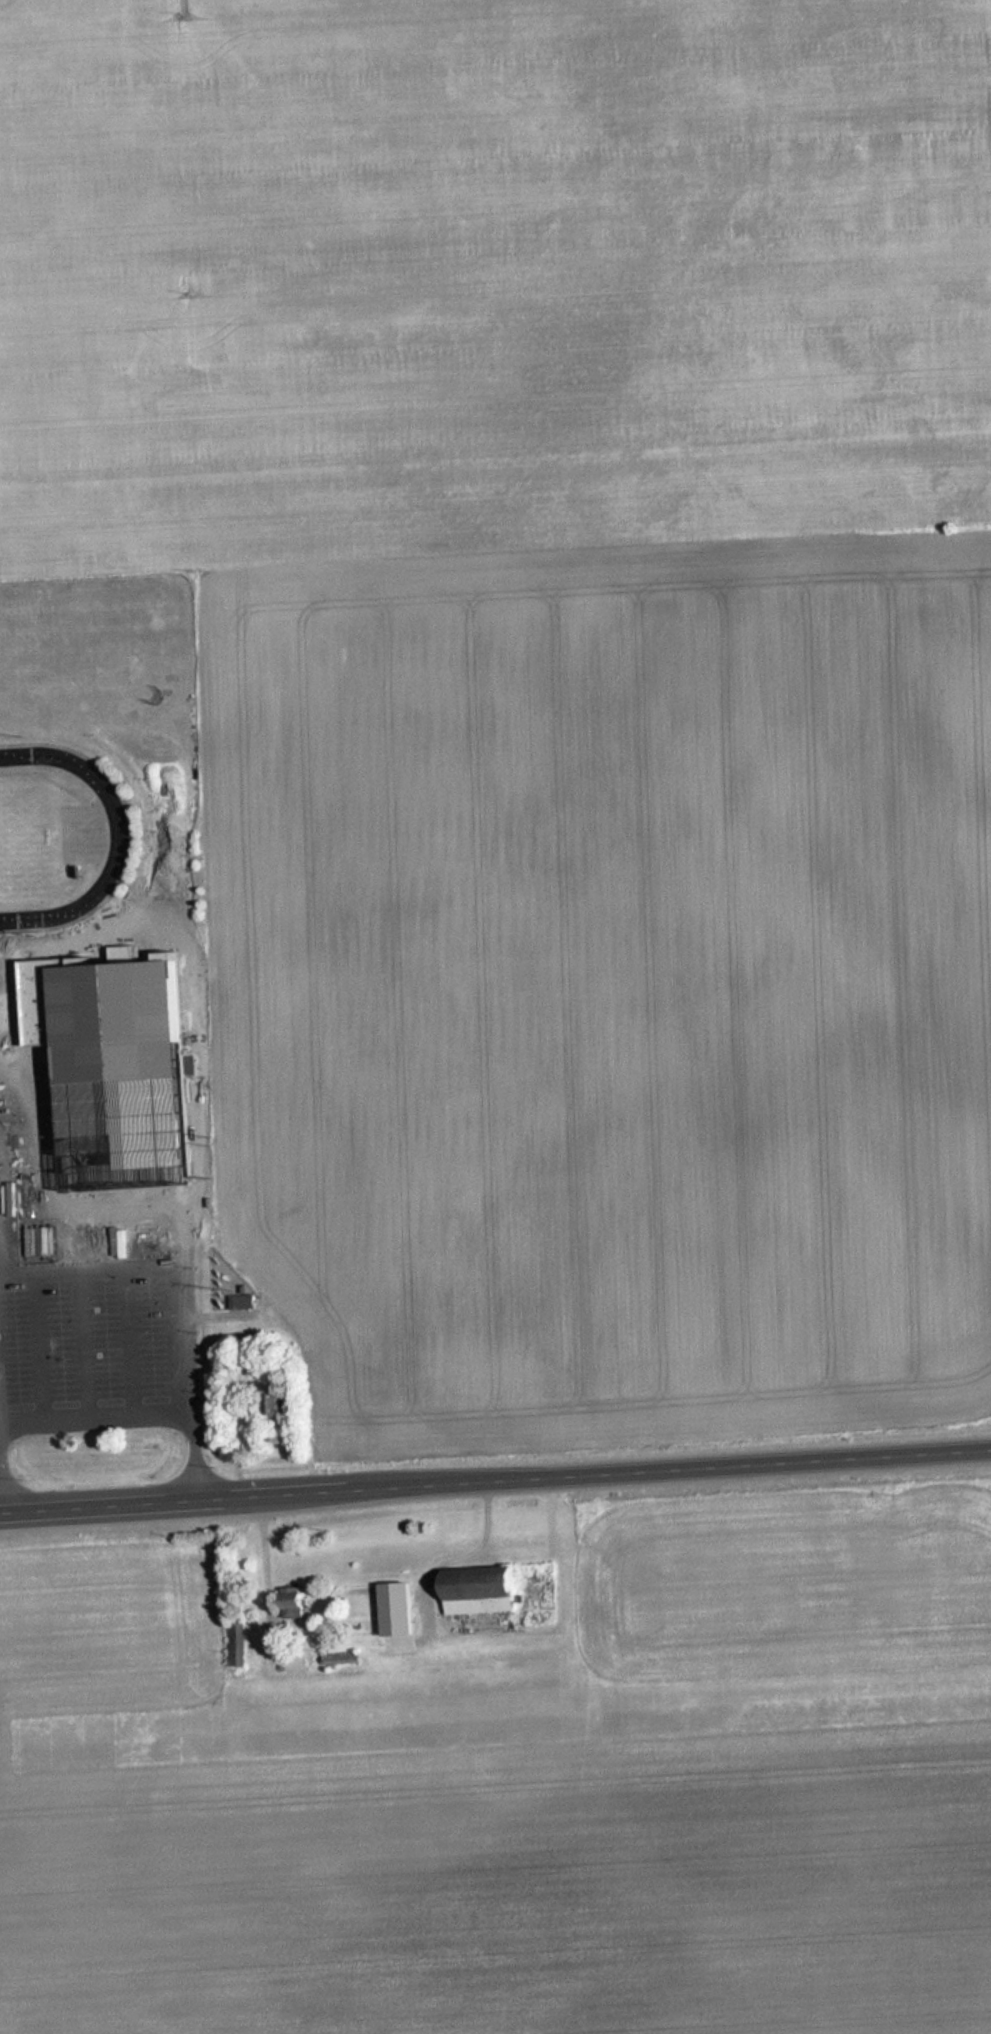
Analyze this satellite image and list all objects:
park: (25, 841)
track: (122, 843)
building: (32, 954)
building: (106, 1066)
road: (163, 1206)
road: (15, 1209)
road: (91, 1268)
building: (245, 1302)
road: (126, 1341)
road: (83, 1344)
road: (37, 1346)
building: (278, 1406)
road: (97, 1418)
road: (495, 1484)
building: (484, 1594)
building: (298, 1604)
building: (239, 1645)
building: (344, 1659)

